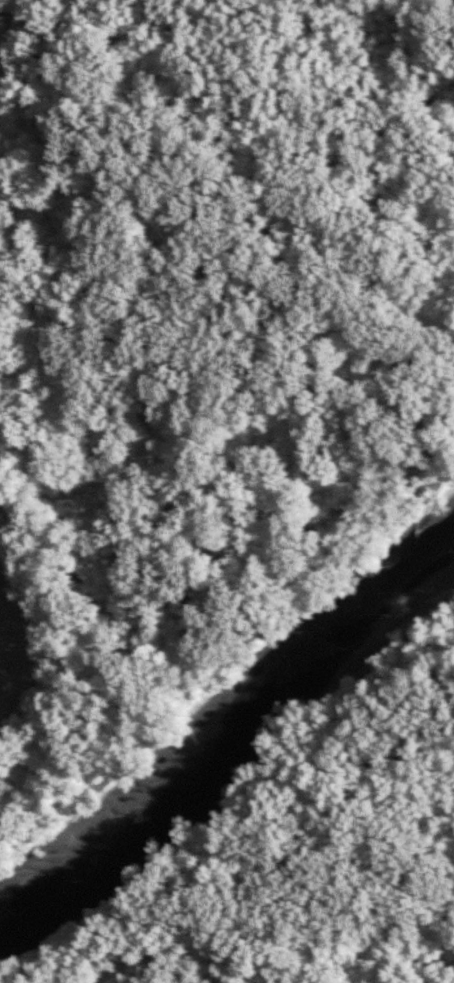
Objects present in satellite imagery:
river: (219, 728)

